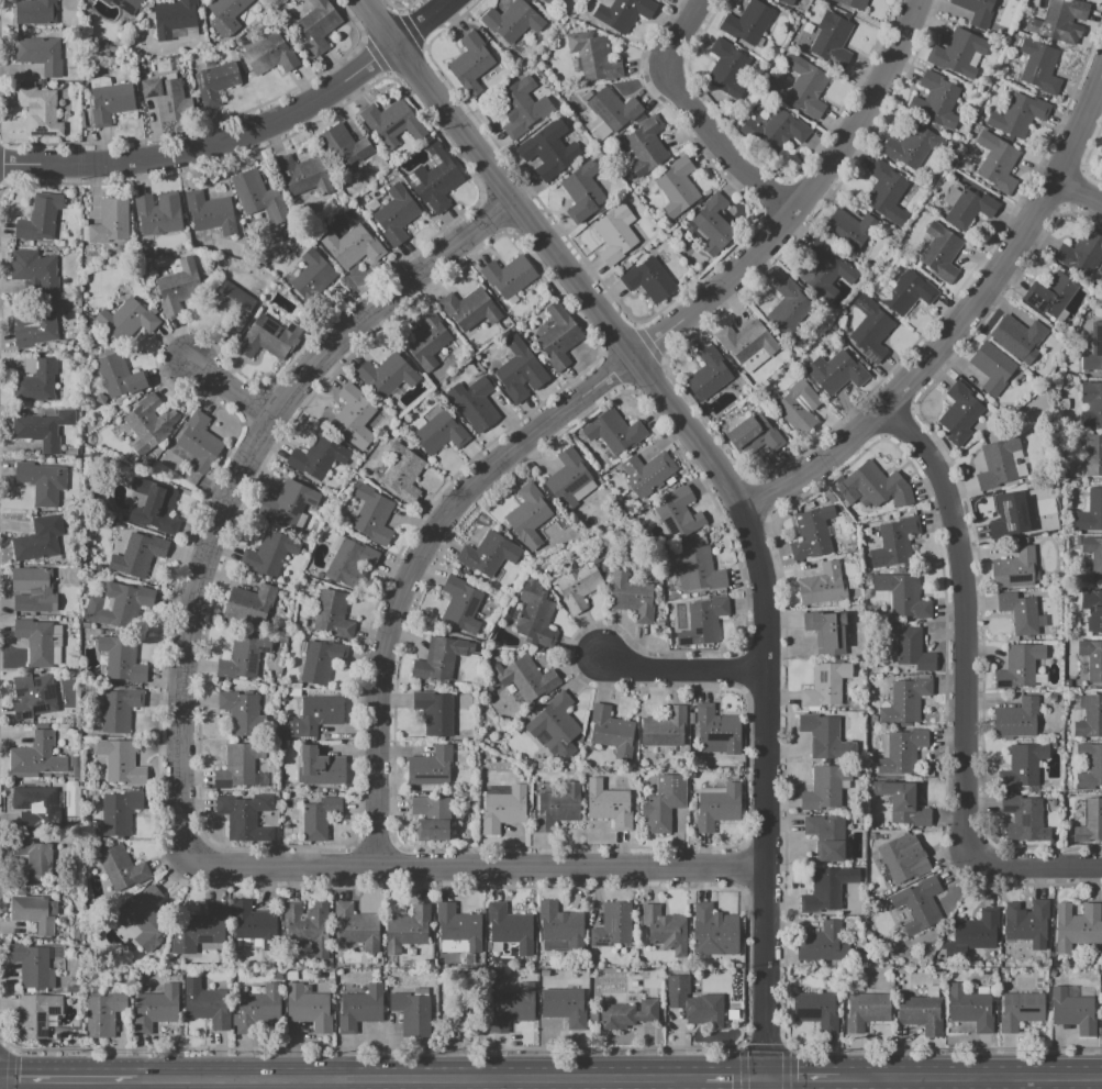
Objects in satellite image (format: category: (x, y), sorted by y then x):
building: (547, 2)
building: (788, 2)
building: (853, 3)
building: (126, 5)
building: (36, 10)
building: (977, 12)
building: (624, 13)
building: (225, 16)
building: (174, 19)
building: (1060, 21)
building: (511, 22)
building: (748, 22)
building: (316, 25)
building: (831, 41)
building: (958, 53)
building: (38, 54)
building: (274, 54)
building: (593, 56)
building: (470, 64)
building: (1038, 66)
building: (726, 67)
building: (214, 84)
building: (805, 87)
building: (164, 97)
building: (936, 101)
building: (110, 102)
building: (613, 108)
building: (519, 109)
building: (38, 112)
building: (1017, 114)
road: (697, 121)
building: (391, 122)
building: (781, 130)
road: (242, 135)
building: (342, 146)
building: (646, 146)
building: (909, 146)
building: (1100, 148)
building: (548, 151)
building: (997, 163)
building: (296, 176)
building: (434, 179)
building: (246, 182)
building: (677, 187)
building: (581, 192)
building: (886, 193)
road: (1078, 193)
road: (802, 200)
building: (968, 207)
building: (205, 211)
building: (159, 212)
building: (396, 214)
building: (38, 216)
building: (110, 222)
building: (714, 224)
building: (849, 231)
building: (614, 234)
building: (353, 247)
building: (1081, 253)
building: (940, 254)
building: (825, 269)
building: (34, 273)
building: (509, 276)
building: (311, 278)
building: (648, 279)
building: (178, 288)
building: (905, 291)
building: (1051, 296)
building: (233, 307)
building: (789, 308)
building: (469, 309)
building: (129, 321)
road: (958, 321)
building: (34, 326)
building: (868, 330)
building: (558, 336)
building: (1018, 337)
building: (268, 338)
building: (427, 340)
building: (746, 340)
building: (1093, 349)
building: (992, 368)
building: (520, 371)
building: (835, 373)
building: (387, 375)
building: (708, 375)
building: (119, 377)
building: (36, 382)
road: (231, 389)
building: (474, 404)
building: (1091, 404)
building: (799, 408)
building: (959, 413)
building: (354, 419)
building: (148, 425)
building: (37, 432)
building: (614, 432)
building: (439, 434)
building: (755, 435)
building: (199, 443)
building: (1093, 456)
building: (316, 458)
building: (998, 462)
building: (402, 473)
building: (648, 473)
road: (238, 476)
building: (567, 478)
road: (725, 480)
building: (42, 482)
building: (876, 486)
building: (289, 502)
building: (153, 507)
building: (1090, 512)
building: (527, 513)
building: (371, 514)
building: (678, 514)
building: (1010, 514)
building: (812, 533)
building: (36, 542)
building: (894, 542)
building: (268, 554)
building: (489, 554)
building: (1093, 555)
building: (137, 556)
building: (350, 563)
road: (413, 564)
building: (1014, 568)
building: (698, 569)
building: (578, 579)
building: (822, 585)
building: (35, 588)
building: (903, 594)
building: (632, 597)
building: (18, 604)
building: (249, 605)
building: (460, 605)
building: (114, 607)
building: (1091, 609)
building: (1018, 611)
building: (333, 614)
building: (536, 615)
building: (703, 621)
building: (826, 632)
building: (38, 641)
building: (913, 649)
building: (439, 658)
building: (1092, 658)
building: (121, 659)
building: (242, 659)
building: (323, 662)
building: (1020, 666)
road: (679, 668)
building: (525, 678)
building: (825, 685)
road: (966, 688)
building: (33, 697)
building: (905, 700)
building: (119, 709)
building: (240, 712)
building: (434, 712)
building: (1088, 715)
building: (313, 716)
building: (1016, 719)
building: (555, 726)
building: (664, 727)
building: (717, 730)
building: (612, 732)
building: (825, 737)
building: (901, 752)
building: (36, 756)
building: (119, 763)
building: (237, 766)
building: (1022, 766)
building: (1089, 766)
building: (431, 767)
building: (321, 768)
building: (824, 787)
building: (36, 802)
building: (664, 802)
building: (903, 802)
building: (559, 804)
building: (609, 804)
building: (717, 807)
building: (501, 812)
building: (119, 813)
building: (244, 818)
building: (319, 818)
building: (1022, 818)
building: (431, 819)
building: (1089, 821)
building: (825, 836)
building: (34, 858)
building: (901, 862)
road: (479, 865)
building: (121, 868)
building: (825, 890)
building: (919, 904)
building: (32, 914)
building: (142, 922)
building: (1027, 923)
building: (255, 925)
building: (560, 925)
building: (613, 925)
building: (356, 926)
building: (1077, 926)
building: (410, 927)
building: (457, 927)
building: (305, 929)
building: (509, 929)
building: (665, 930)
building: (199, 931)
building: (714, 931)
building: (977, 931)
building: (820, 943)
building: (31, 967)
building: (681, 985)
building: (565, 1007)
building: (970, 1008)
building: (208, 1009)
building: (155, 1010)
building: (258, 1010)
building: (308, 1010)
building: (359, 1010)
building: (512, 1010)
building: (704, 1010)
building: (1020, 1010)
building: (815, 1011)
building: (865, 1011)
building: (1072, 1011)
building: (921, 1013)
building: (411, 1014)
building: (627, 1014)
building: (37, 1016)
building: (103, 1016)
road: (4, 1044)
road: (0, 1045)
road: (741, 1045)
traffic signals: (766, 1045)
road: (763, 1048)
road: (9, 1067)
road: (742, 1068)
road: (784, 1069)
road: (970, 1077)
road: (68, 1078)
road: (801, 1078)
road: (421, 1079)
traffic signals: (733, 1079)
road: (735, 1079)
traffic signals: (790, 1079)
road: (1017, 1082)
road: (102, 1084)
road: (311, 1084)
road: (469, 1084)
road: (521, 1084)
road: (767, 1084)
road: (884, 1084)
road: (964, 1084)

